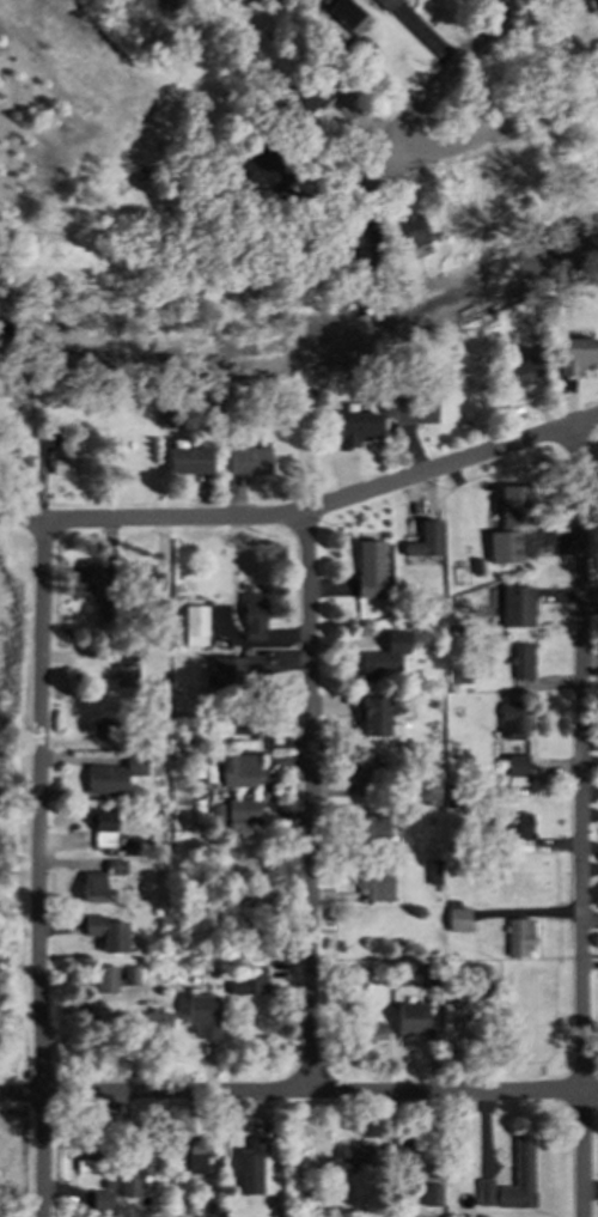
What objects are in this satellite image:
building: (383, 5)
building: (343, 13)
building: (354, 49)
road: (451, 68)
building: (306, 90)
road: (502, 133)
building: (257, 164)
building: (509, 179)
road: (352, 187)
building: (459, 212)
building: (405, 231)
building: (354, 258)
building: (388, 280)
building: (370, 292)
building: (579, 355)
building: (536, 359)
building: (514, 373)
building: (411, 404)
building: (166, 410)
building: (42, 424)
building: (354, 428)
building: (61, 460)
building: (196, 461)
building: (249, 462)
building: (512, 504)
road: (305, 515)
building: (422, 538)
building: (501, 546)
building: (475, 565)
building: (370, 571)
building: (145, 576)
building: (83, 579)
building: (166, 594)
building: (103, 609)
building: (519, 611)
building: (248, 616)
building: (193, 621)
building: (171, 625)
building: (139, 643)
building: (378, 656)
building: (517, 659)
building: (123, 669)
building: (232, 671)
building: (458, 676)
building: (134, 704)
building: (374, 718)
building: (506, 719)
building: (98, 724)
building: (238, 724)
building: (511, 766)
building: (237, 768)
building: (362, 771)
building: (97, 774)
road: (310, 802)
building: (239, 809)
building: (210, 813)
building: (515, 821)
building: (99, 822)
road: (586, 822)
building: (365, 829)
building: (466, 845)
building: (115, 865)
building: (432, 868)
road: (41, 871)
building: (370, 883)
building: (93, 886)
building: (245, 892)
building: (457, 917)
building: (240, 929)
building: (103, 930)
building: (517, 932)
building: (372, 967)
building: (114, 976)
building: (427, 976)
building: (249, 979)
building: (200, 1016)
building: (410, 1018)
building: (152, 1021)
building: (466, 1022)
building: (360, 1023)
road: (298, 1089)
building: (87, 1151)
building: (353, 1151)
building: (141, 1155)
building: (194, 1156)
building: (307, 1156)
building: (397, 1161)
building: (252, 1167)
building: (517, 1179)
building: (126, 1183)
building: (481, 1188)
building: (429, 1192)
building: (99, 1199)
building: (207, 1204)

